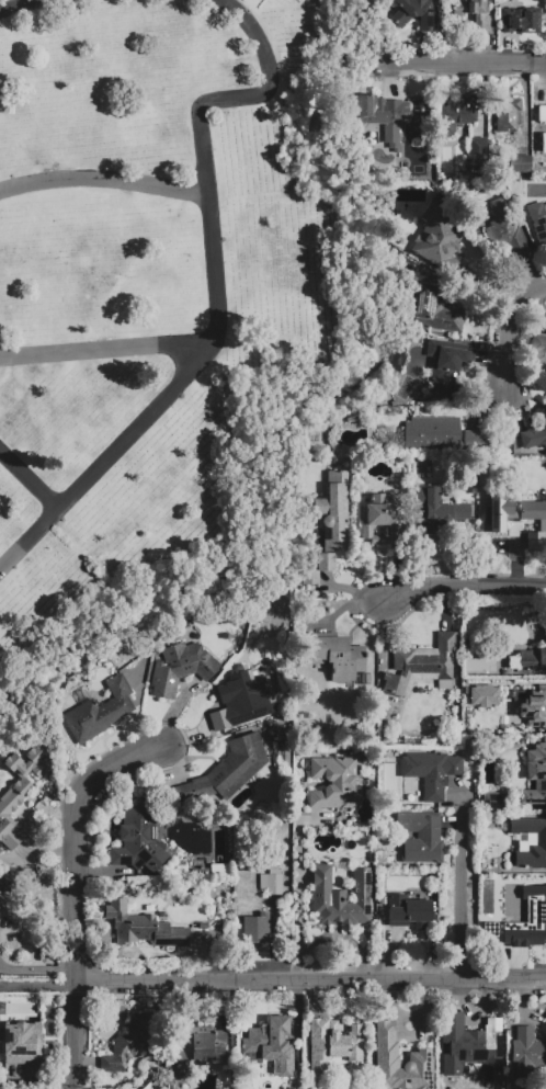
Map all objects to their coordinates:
road: (15, 3)
building: (539, 10)
building: (473, 12)
building: (417, 13)
building: (520, 14)
road: (462, 60)
building: (541, 112)
building: (457, 113)
building: (507, 113)
building: (382, 115)
building: (543, 141)
building: (478, 155)
building: (520, 162)
road: (103, 180)
building: (538, 222)
building: (503, 230)
building: (436, 242)
road: (213, 292)
park: (145, 302)
building: (435, 310)
road: (511, 320)
building: (538, 348)
road: (107, 351)
building: (448, 363)
building: (440, 433)
building: (534, 435)
road: (27, 478)
building: (335, 507)
building: (516, 510)
building: (439, 511)
building: (379, 519)
building: (318, 568)
road: (462, 591)
building: (341, 654)
building: (532, 660)
building: (422, 665)
building: (180, 668)
building: (241, 691)
building: (484, 695)
building: (534, 708)
building: (96, 712)
building: (283, 751)
building: (227, 771)
building: (429, 773)
building: (535, 775)
building: (333, 782)
building: (19, 797)
building: (494, 801)
building: (421, 837)
building: (138, 839)
building: (541, 839)
building: (219, 870)
building: (274, 881)
building: (4, 883)
building: (543, 885)
road: (464, 888)
road: (72, 891)
building: (341, 897)
road: (298, 907)
building: (408, 910)
building: (524, 916)
building: (136, 927)
building: (257, 928)
road: (36, 969)
road: (309, 978)
road: (37, 985)
building: (132, 1040)
building: (22, 1041)
building: (200, 1043)
building: (273, 1043)
building: (333, 1043)
building: (469, 1047)
building: (526, 1054)
building: (398, 1062)
road: (36, 1079)
building: (129, 1084)

